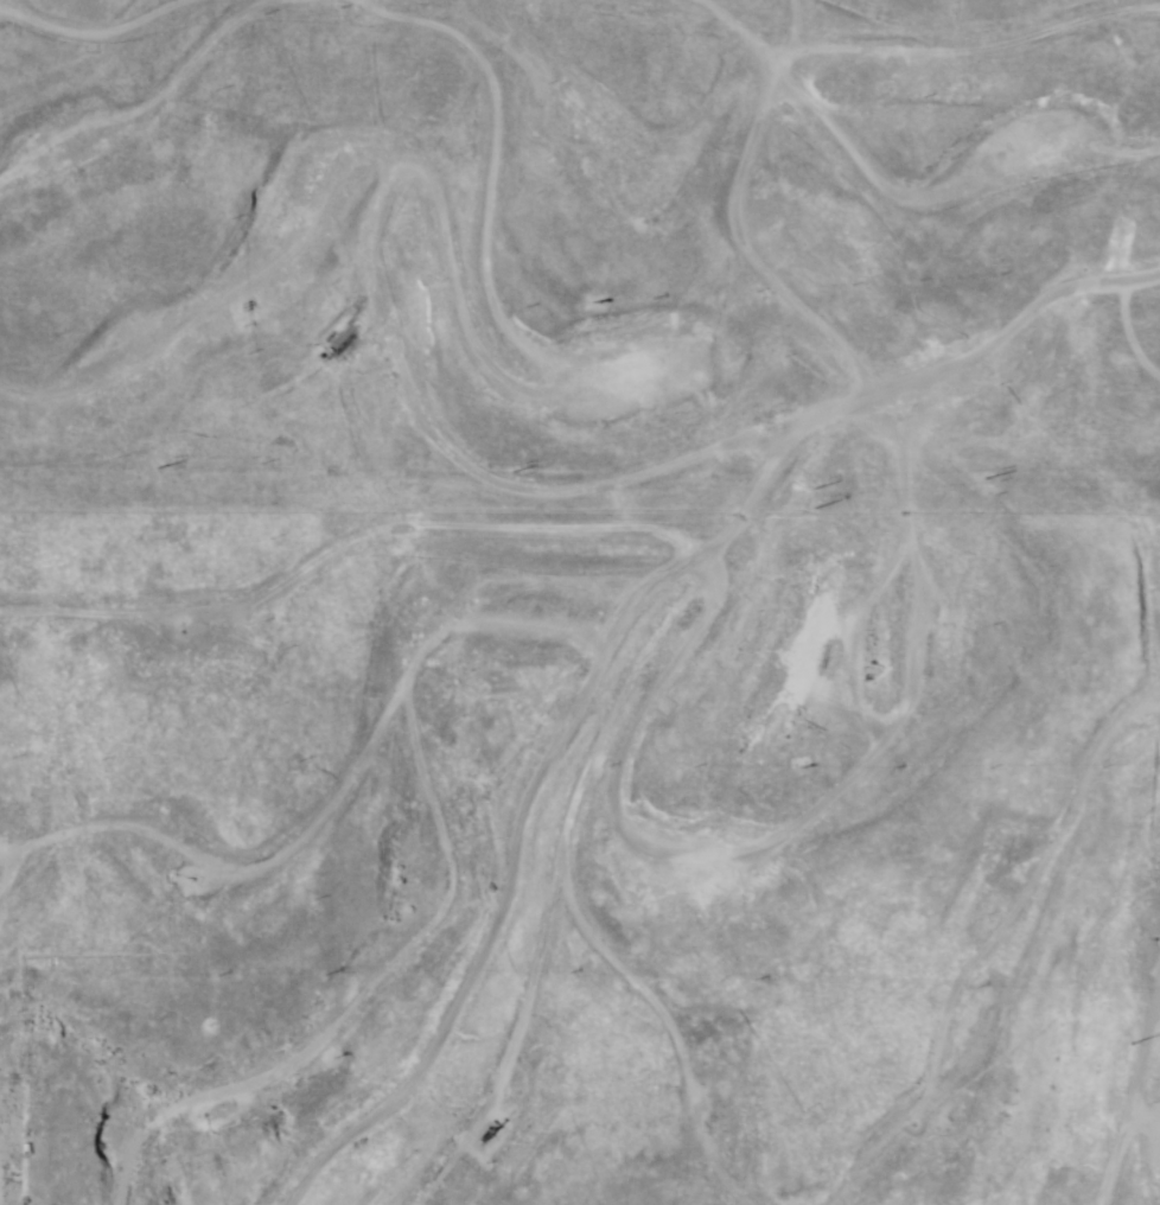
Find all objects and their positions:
road: (528, 12)
road: (83, 72)
road: (36, 93)
road: (649, 119)
road: (380, 133)
road: (872, 158)
road: (209, 288)
road: (483, 319)
road: (872, 432)
road: (632, 578)
road: (433, 690)
road: (356, 771)
road: (457, 890)
road: (556, 931)
road: (963, 931)
road: (353, 938)
road: (470, 988)
road: (1102, 1005)
road: (1086, 1161)

